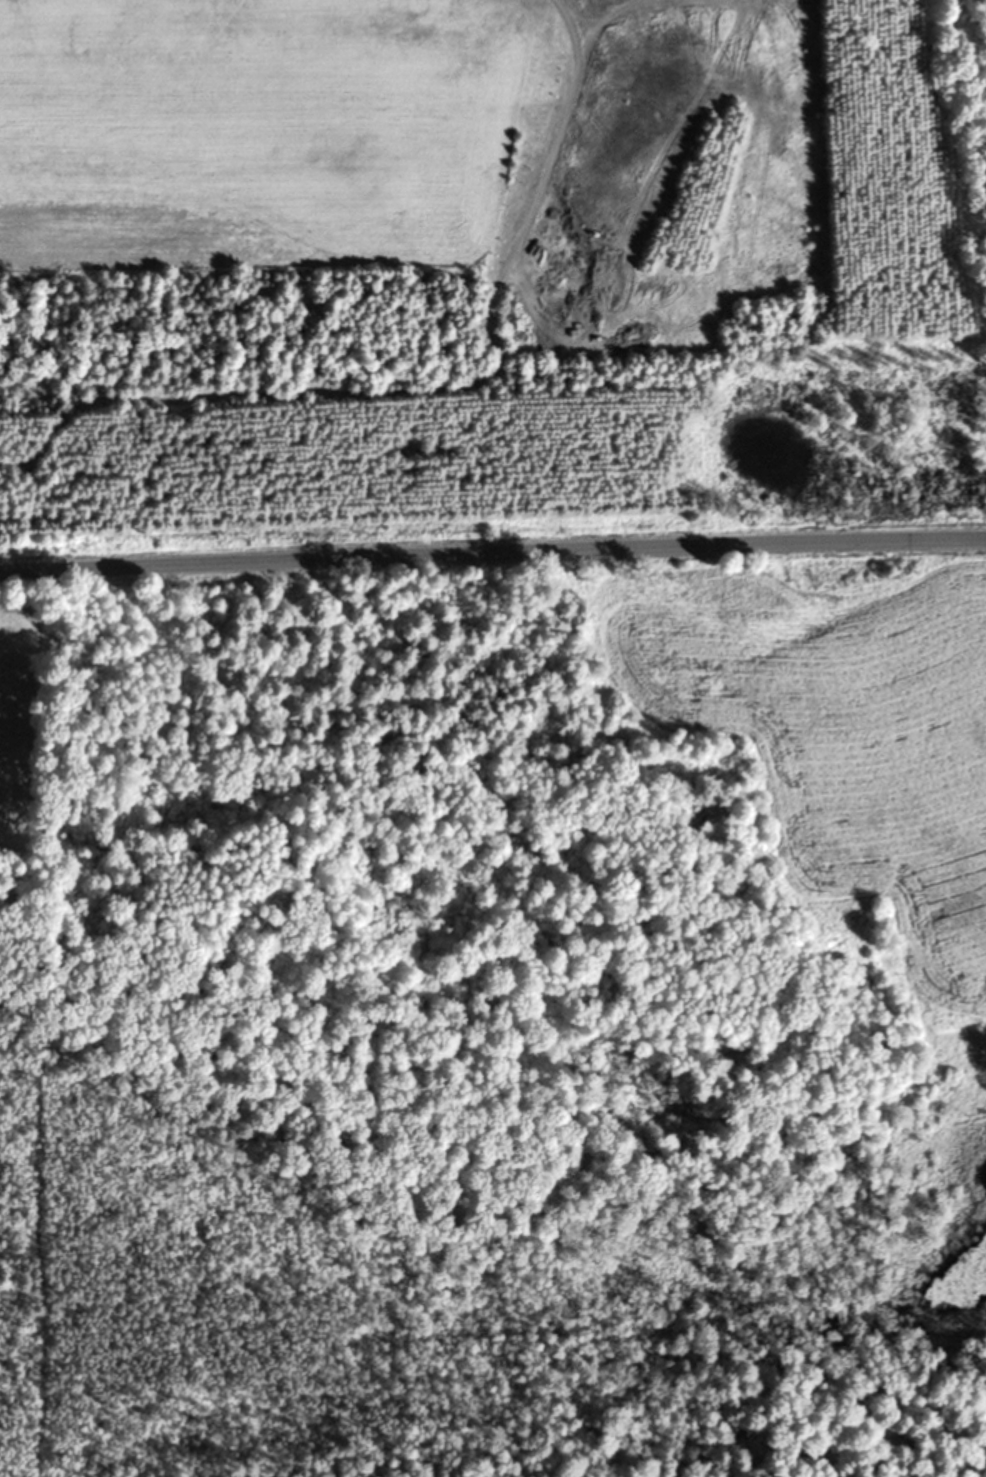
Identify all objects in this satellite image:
road: (492, 561)

